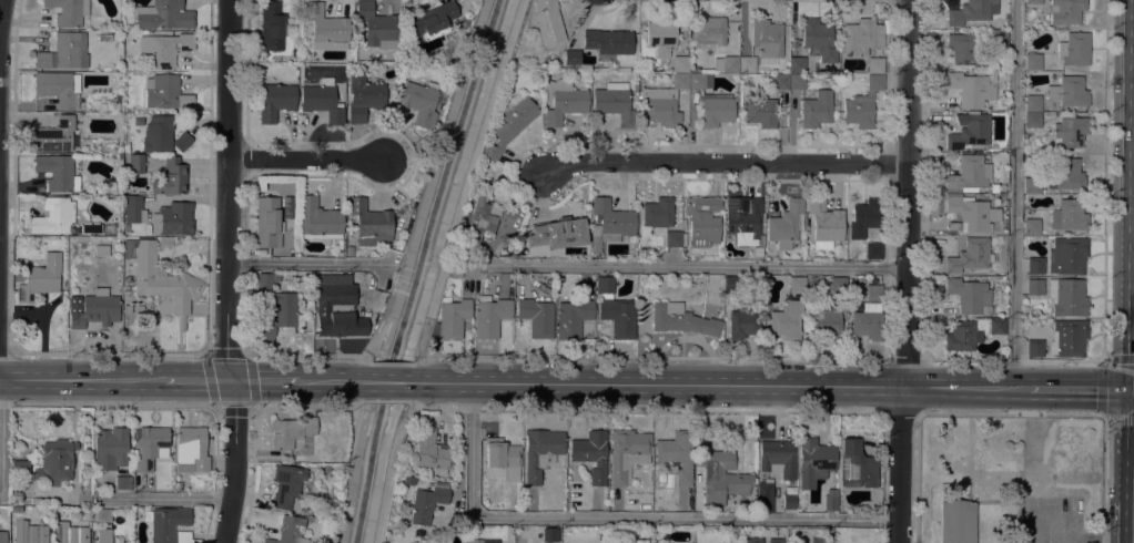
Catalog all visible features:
building: (1033, 1)
building: (68, 11)
building: (972, 11)
building: (1065, 11)
building: (163, 16)
road: (2, 19)
building: (431, 20)
building: (547, 21)
building: (325, 23)
building: (270, 25)
building: (377, 25)
building: (709, 29)
building: (661, 35)
building: (860, 37)
building: (998, 37)
building: (104, 38)
building: (766, 38)
building: (818, 40)
building: (608, 41)
building: (164, 48)
building: (961, 48)
building: (1073, 49)
building: (64, 52)
building: (571, 58)
building: (1032, 61)
building: (726, 63)
building: (680, 64)
building: (747, 64)
building: (797, 64)
building: (874, 65)
building: (767, 79)
building: (699, 81)
building: (780, 82)
building: (797, 82)
building: (55, 88)
building: (972, 88)
building: (1067, 92)
building: (165, 93)
building: (363, 98)
building: (563, 100)
building: (275, 101)
building: (322, 101)
building: (662, 101)
building: (419, 102)
building: (614, 103)
building: (1032, 103)
building: (862, 104)
building: (716, 109)
building: (816, 109)
building: (760, 112)
building: (1032, 120)
building: (509, 123)
building: (969, 130)
building: (1070, 131)
building: (57, 135)
building: (162, 135)
road: (478, 158)
road: (307, 160)
building: (134, 164)
road: (727, 165)
building: (492, 171)
building: (57, 172)
building: (1065, 174)
building: (973, 176)
building: (171, 177)
building: (1032, 185)
building: (118, 191)
road: (229, 191)
road: (1013, 194)
building: (287, 207)
building: (133, 209)
building: (657, 213)
building: (971, 214)
building: (1069, 215)
building: (53, 216)
building: (864, 217)
building: (173, 218)
building: (480, 218)
building: (743, 218)
building: (317, 219)
building: (702, 221)
building: (267, 222)
building: (368, 223)
building: (609, 223)
building: (786, 224)
building: (824, 224)
building: (1031, 226)
building: (89, 227)
building: (125, 227)
building: (556, 233)
building: (672, 238)
building: (684, 239)
building: (341, 244)
building: (350, 250)
building: (519, 250)
building: (757, 250)
building: (872, 250)
building: (1066, 255)
building: (970, 256)
road: (305, 264)
road: (689, 264)
building: (1034, 265)
road: (907, 270)
building: (40, 278)
building: (161, 278)
building: (265, 279)
building: (731, 284)
building: (796, 285)
building: (837, 285)
building: (1034, 287)
building: (873, 293)
building: (969, 296)
building: (1066, 297)
road: (1133, 303)
building: (139, 308)
building: (94, 309)
building: (126, 309)
building: (324, 309)
building: (284, 310)
building: (615, 310)
building: (489, 316)
building: (536, 317)
building: (573, 317)
building: (450, 319)
building: (681, 319)
building: (786, 320)
building: (827, 321)
building: (741, 324)
building: (867, 325)
building: (996, 326)
building: (961, 336)
building: (1067, 338)
building: (1034, 348)
road: (424, 349)
road: (82, 379)
road: (209, 381)
traffic signals: (233, 381)
road: (275, 381)
road: (331, 381)
road: (386, 382)
road: (719, 385)
road: (1082, 389)
traffic signals: (1133, 390)
road: (414, 400)
building: (290, 431)
road: (2, 436)
building: (150, 447)
building: (110, 449)
building: (191, 450)
building: (428, 450)
building: (539, 452)
building: (627, 453)
building: (590, 454)
building: (677, 454)
building: (503, 457)
building: (777, 458)
building: (55, 461)
building: (813, 461)
road: (233, 462)
building: (857, 464)
road: (1132, 467)
building: (20, 472)
building: (721, 477)
road: (386, 479)
building: (406, 480)
building: (122, 482)
building: (182, 484)
building: (285, 484)
building: (765, 496)
road: (161, 498)
building: (789, 498)
building: (830, 500)
building: (425, 504)
building: (102, 514)
road: (622, 518)
building: (956, 522)
building: (168, 524)
building: (287, 531)
building: (29, 532)
building: (70, 533)
building: (768, 533)
building: (550, 534)
building: (103, 535)
building: (3, 536)
building: (753, 540)
building: (484, 541)
building: (639, 541)
building: (774, 541)

